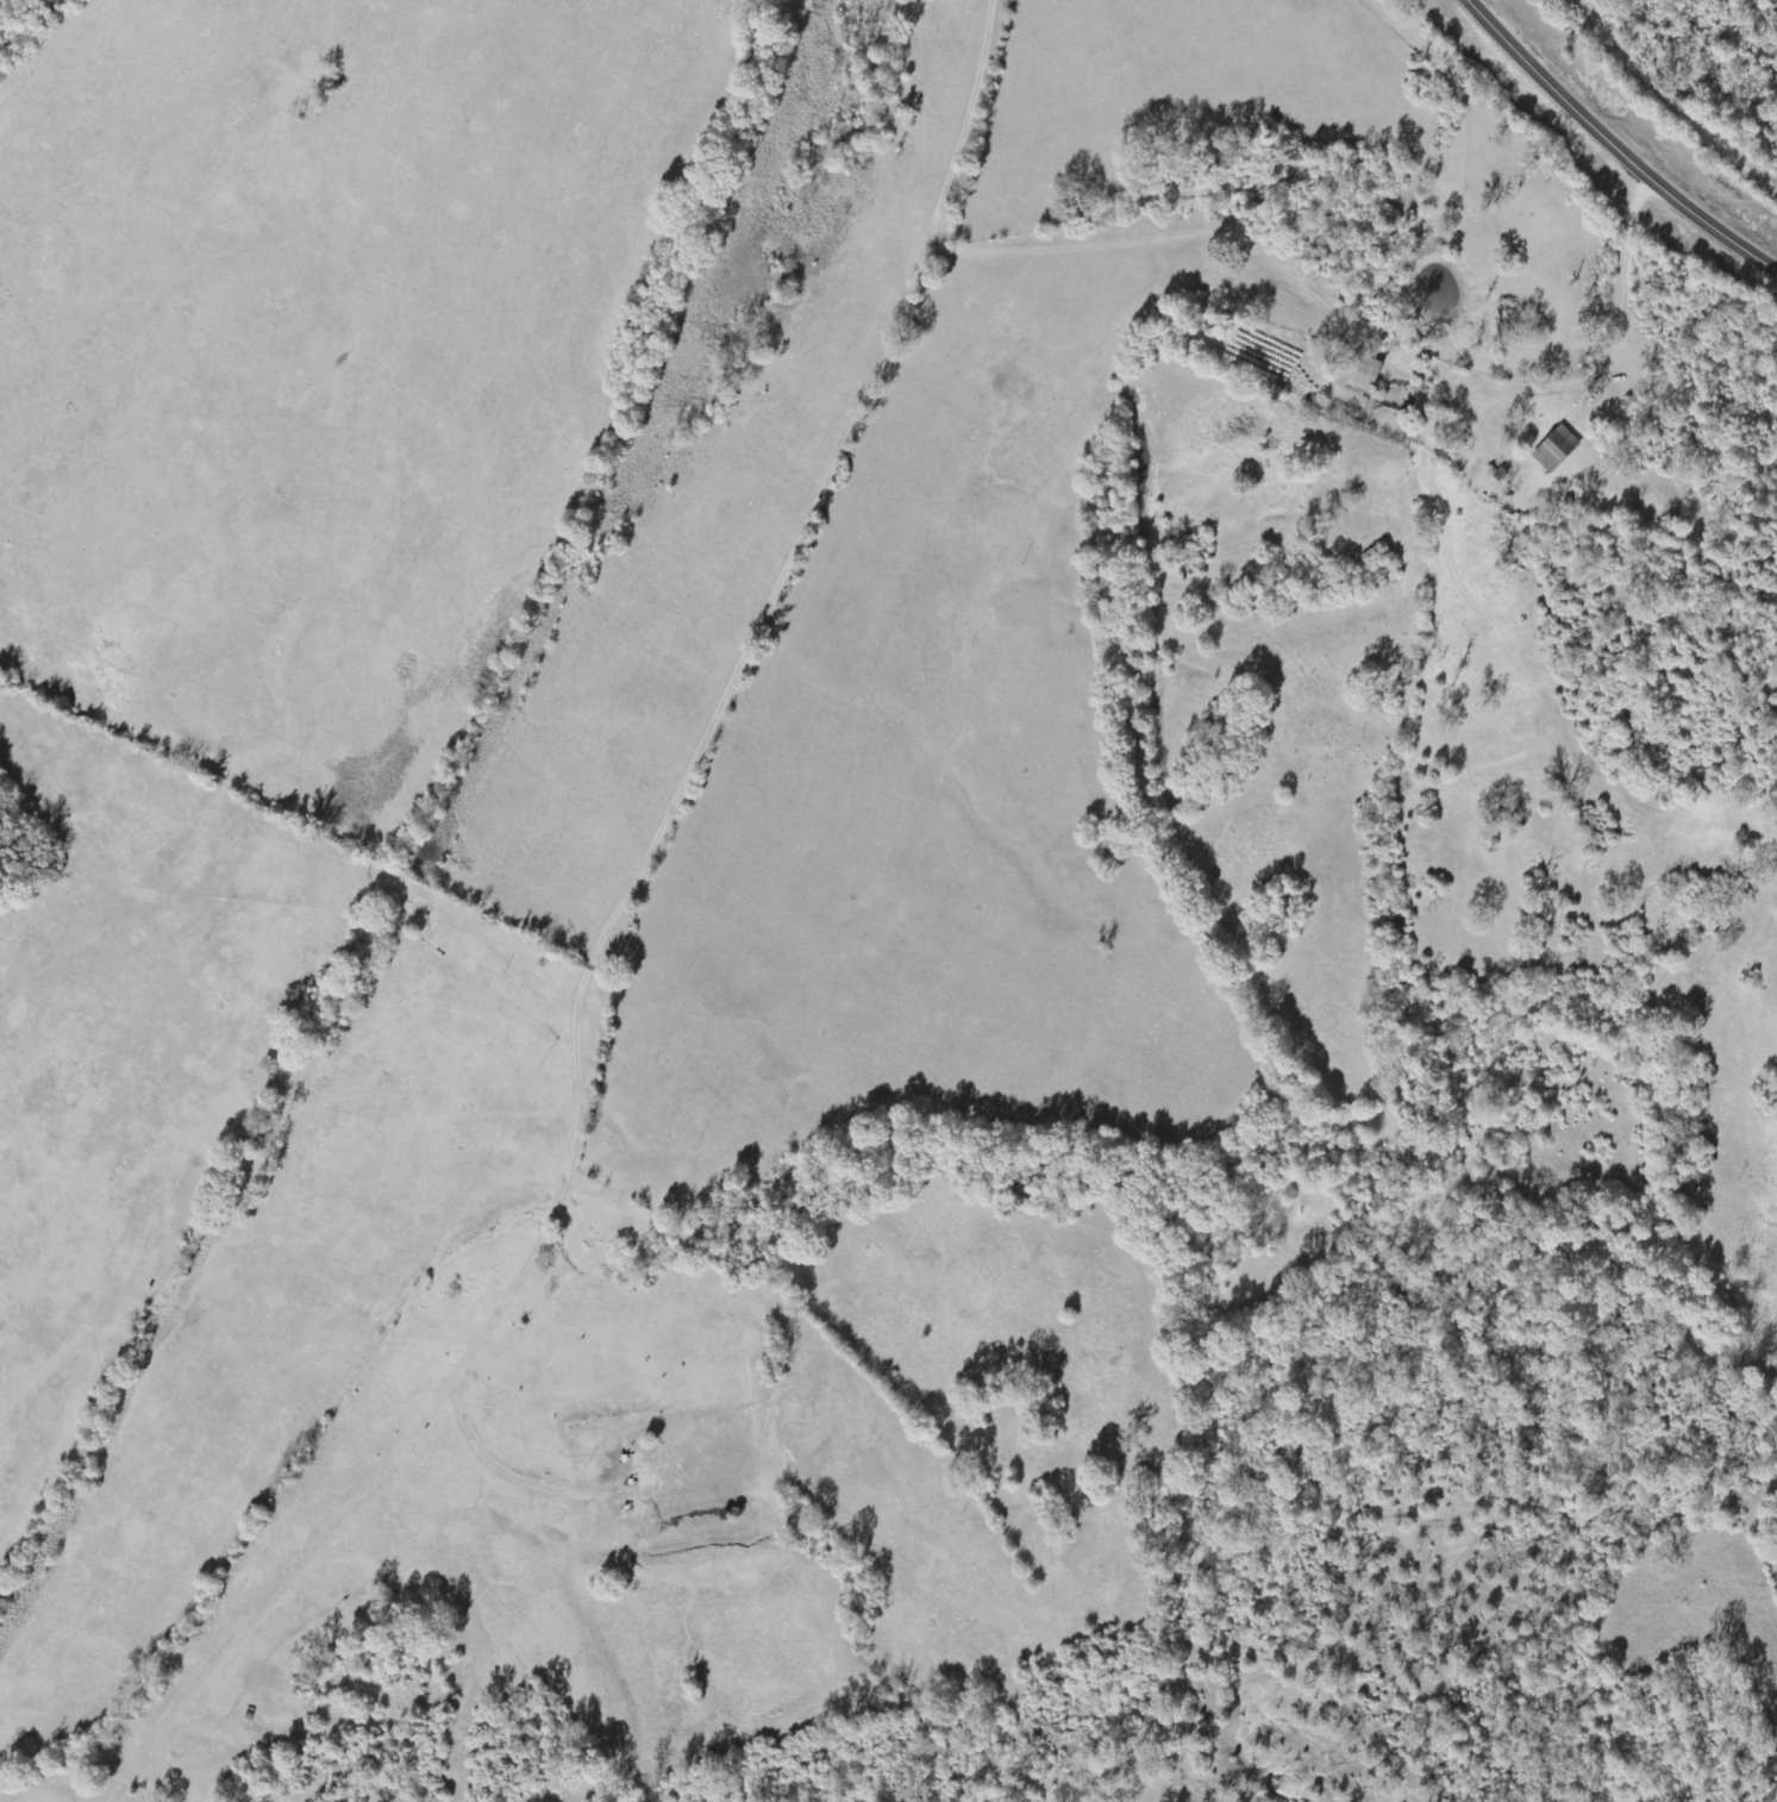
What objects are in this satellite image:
road: (1614, 145)
building: (1360, 371)
building: (1559, 451)

